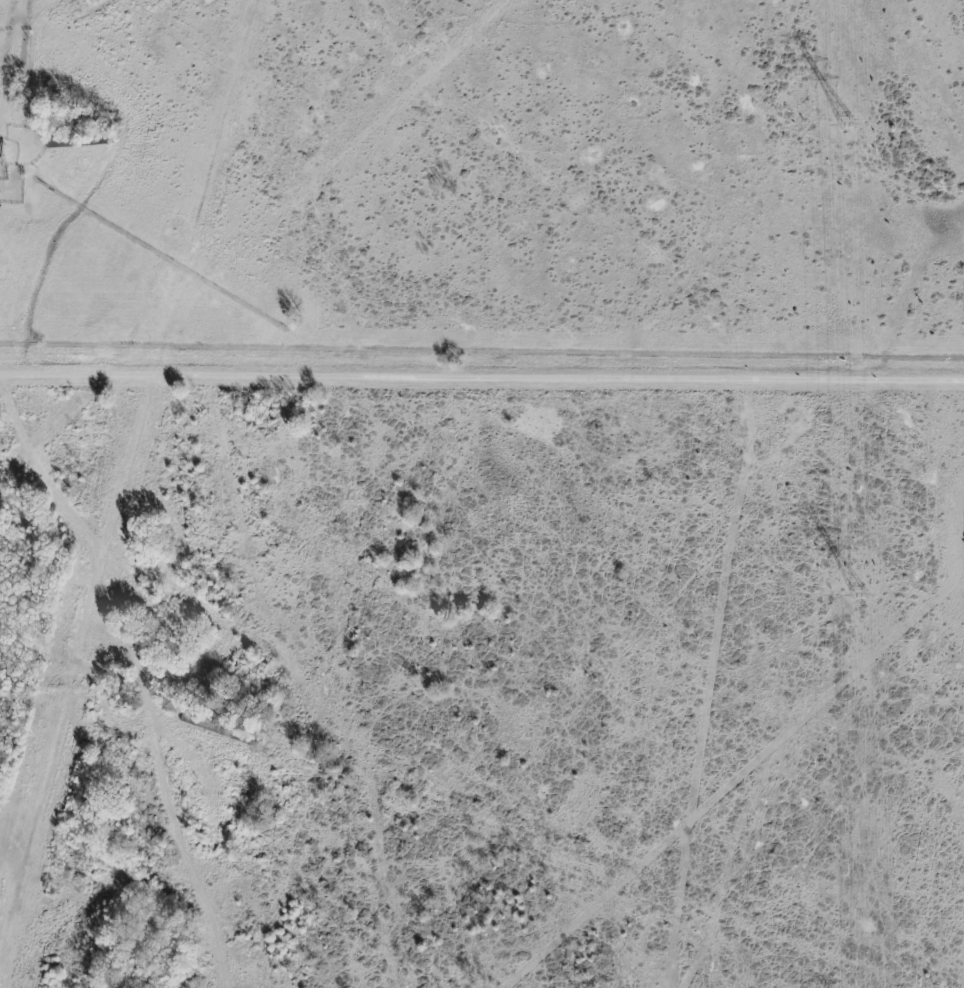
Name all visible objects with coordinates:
road: (12, 79)
power tower: (849, 125)
road: (481, 379)
power tower: (862, 594)

